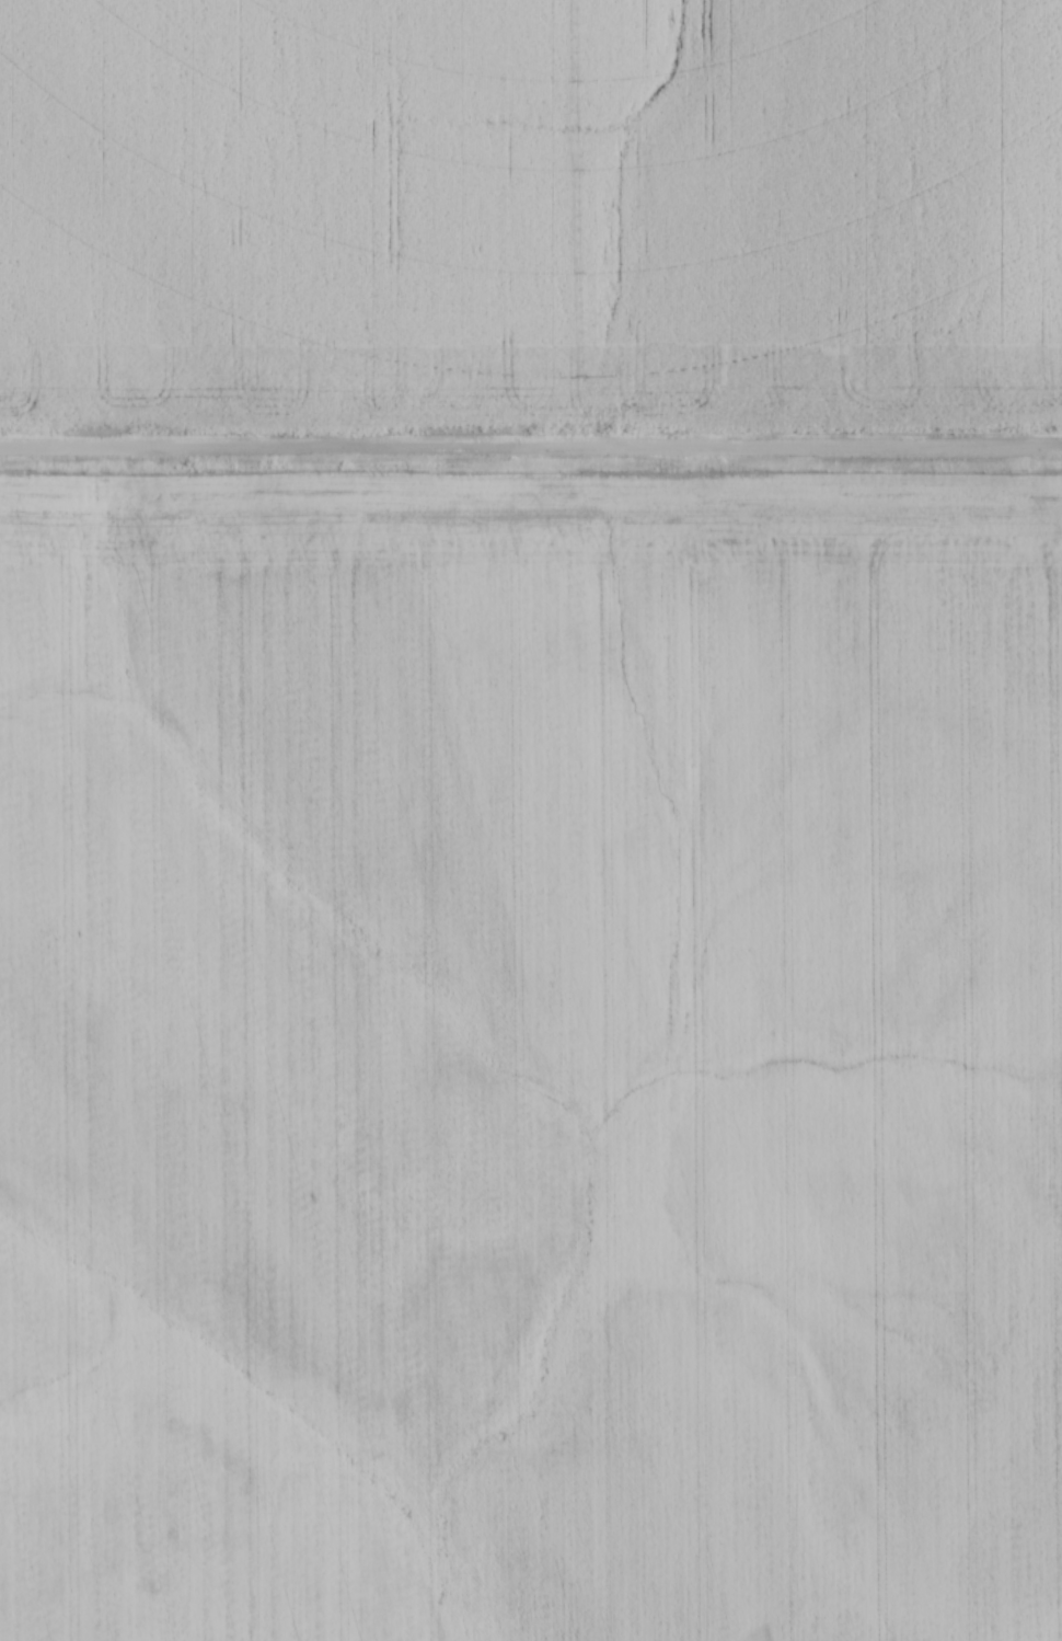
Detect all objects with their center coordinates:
road: (531, 458)

